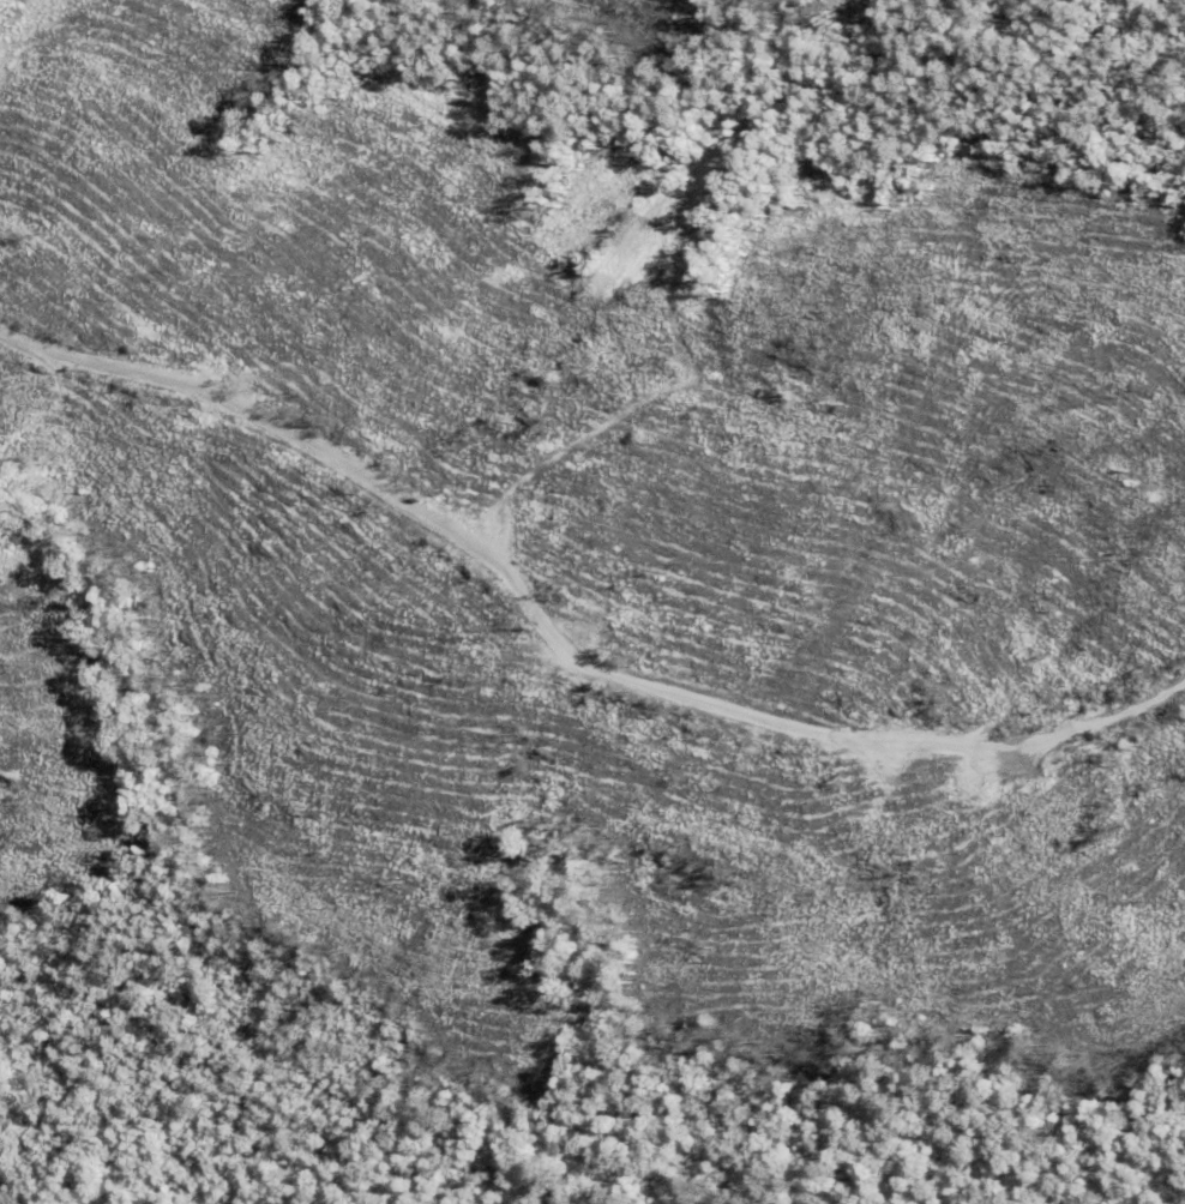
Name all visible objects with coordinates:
road: (560, 645)

